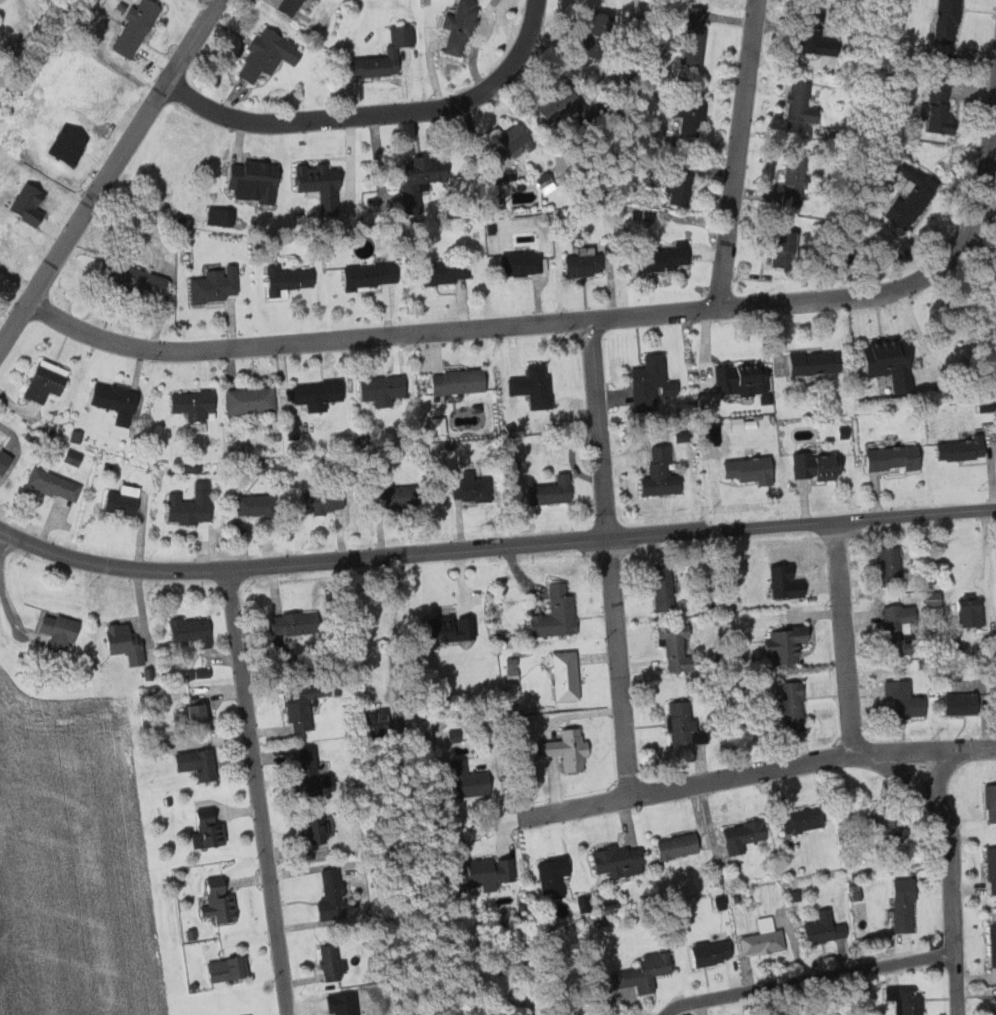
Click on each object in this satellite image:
building: (295, 7)
building: (946, 21)
building: (137, 26)
building: (463, 27)
building: (597, 33)
building: (814, 34)
building: (693, 36)
building: (395, 51)
building: (825, 51)
building: (272, 54)
building: (567, 106)
building: (801, 106)
building: (940, 109)
road: (375, 116)
building: (691, 117)
building: (53, 123)
building: (515, 141)
road: (737, 155)
building: (21, 167)
road: (107, 174)
building: (419, 176)
building: (255, 178)
building: (794, 181)
building: (319, 184)
building: (679, 187)
building: (910, 199)
building: (26, 200)
building: (228, 217)
building: (986, 241)
building: (784, 248)
building: (663, 255)
building: (584, 261)
building: (523, 262)
building: (445, 271)
building: (372, 275)
building: (134, 278)
building: (290, 278)
building: (216, 284)
road: (564, 321)
building: (818, 362)
building: (894, 363)
building: (746, 380)
building: (49, 381)
building: (462, 381)
building: (653, 382)
building: (542, 387)
building: (385, 390)
building: (320, 394)
building: (253, 400)
building: (119, 402)
building: (196, 404)
building: (745, 423)
building: (78, 436)
building: (685, 437)
building: (714, 440)
building: (965, 449)
building: (76, 458)
building: (897, 458)
building: (6, 460)
building: (819, 466)
building: (195, 468)
building: (754, 470)
building: (664, 473)
building: (56, 484)
building: (475, 487)
building: (555, 491)
building: (405, 496)
building: (126, 500)
building: (326, 501)
building: (259, 505)
building: (193, 506)
road: (495, 546)
road: (610, 558)
building: (893, 566)
building: (789, 583)
building: (666, 589)
building: (934, 599)
building: (972, 613)
building: (559, 614)
building: (298, 624)
building: (900, 628)
building: (455, 629)
building: (63, 631)
building: (195, 631)
road: (844, 639)
road: (393, 641)
building: (126, 643)
building: (789, 644)
building: (680, 649)
building: (200, 673)
building: (515, 675)
building: (567, 675)
building: (899, 698)
building: (948, 703)
building: (306, 704)
building: (788, 705)
building: (201, 710)
building: (382, 722)
building: (679, 724)
building: (450, 734)
building: (562, 748)
building: (201, 762)
building: (313, 771)
road: (937, 772)
road: (756, 773)
building: (460, 779)
road: (255, 791)
building: (988, 801)
building: (796, 820)
building: (880, 827)
building: (210, 829)
building: (321, 829)
building: (739, 835)
building: (672, 845)
building: (614, 860)
building: (990, 869)
building: (480, 871)
road: (952, 871)
building: (549, 874)
building: (334, 895)
building: (222, 899)
building: (582, 902)
building: (899, 904)
building: (820, 928)
building: (760, 937)
building: (991, 943)
building: (706, 951)
building: (333, 962)
building: (231, 968)
building: (638, 972)
road: (815, 982)
building: (901, 999)
building: (993, 1010)

